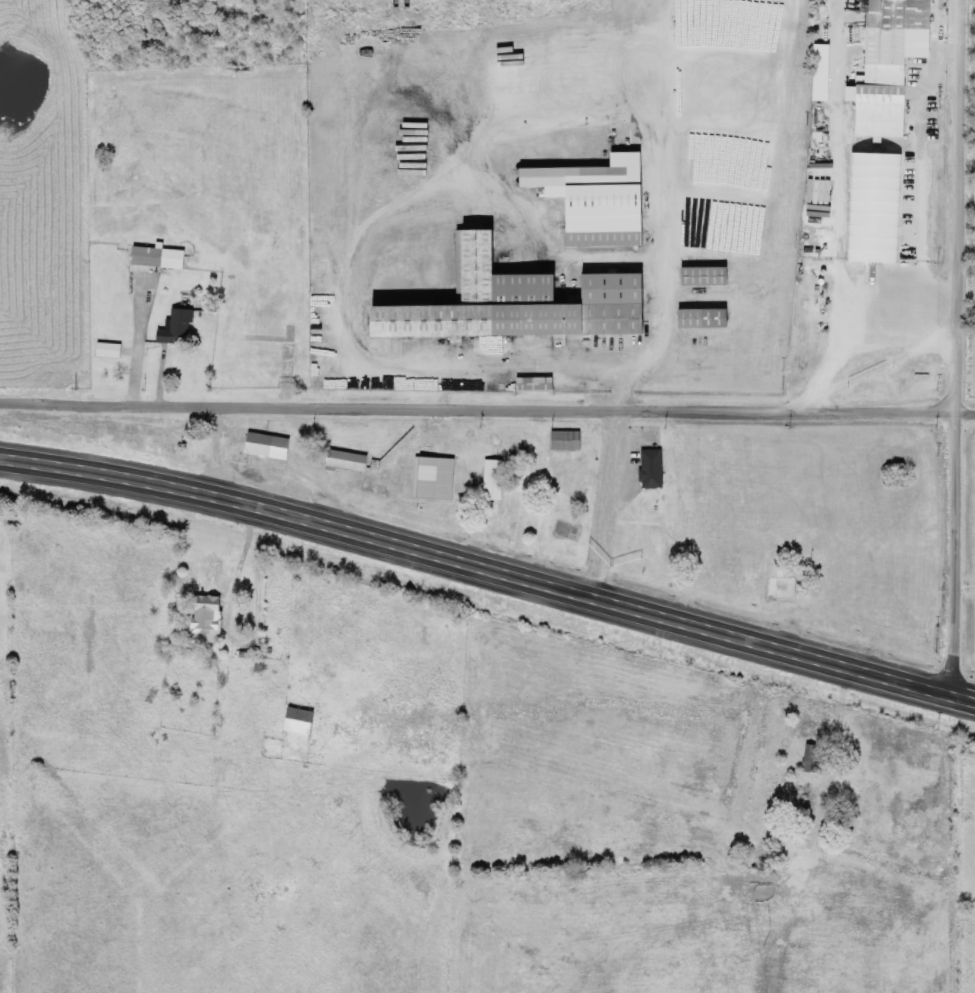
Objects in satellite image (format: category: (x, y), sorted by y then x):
building: (864, 5)
building: (889, 65)
building: (821, 72)
building: (596, 200)
building: (876, 207)
building: (160, 257)
building: (704, 277)
building: (516, 303)
building: (704, 318)
building: (178, 328)
road: (960, 348)
building: (110, 350)
building: (514, 383)
road: (487, 419)
building: (567, 441)
building: (269, 446)
building: (348, 461)
building: (654, 469)
building: (437, 478)
building: (495, 480)
road: (488, 570)
building: (209, 617)
building: (299, 724)
building: (814, 759)

